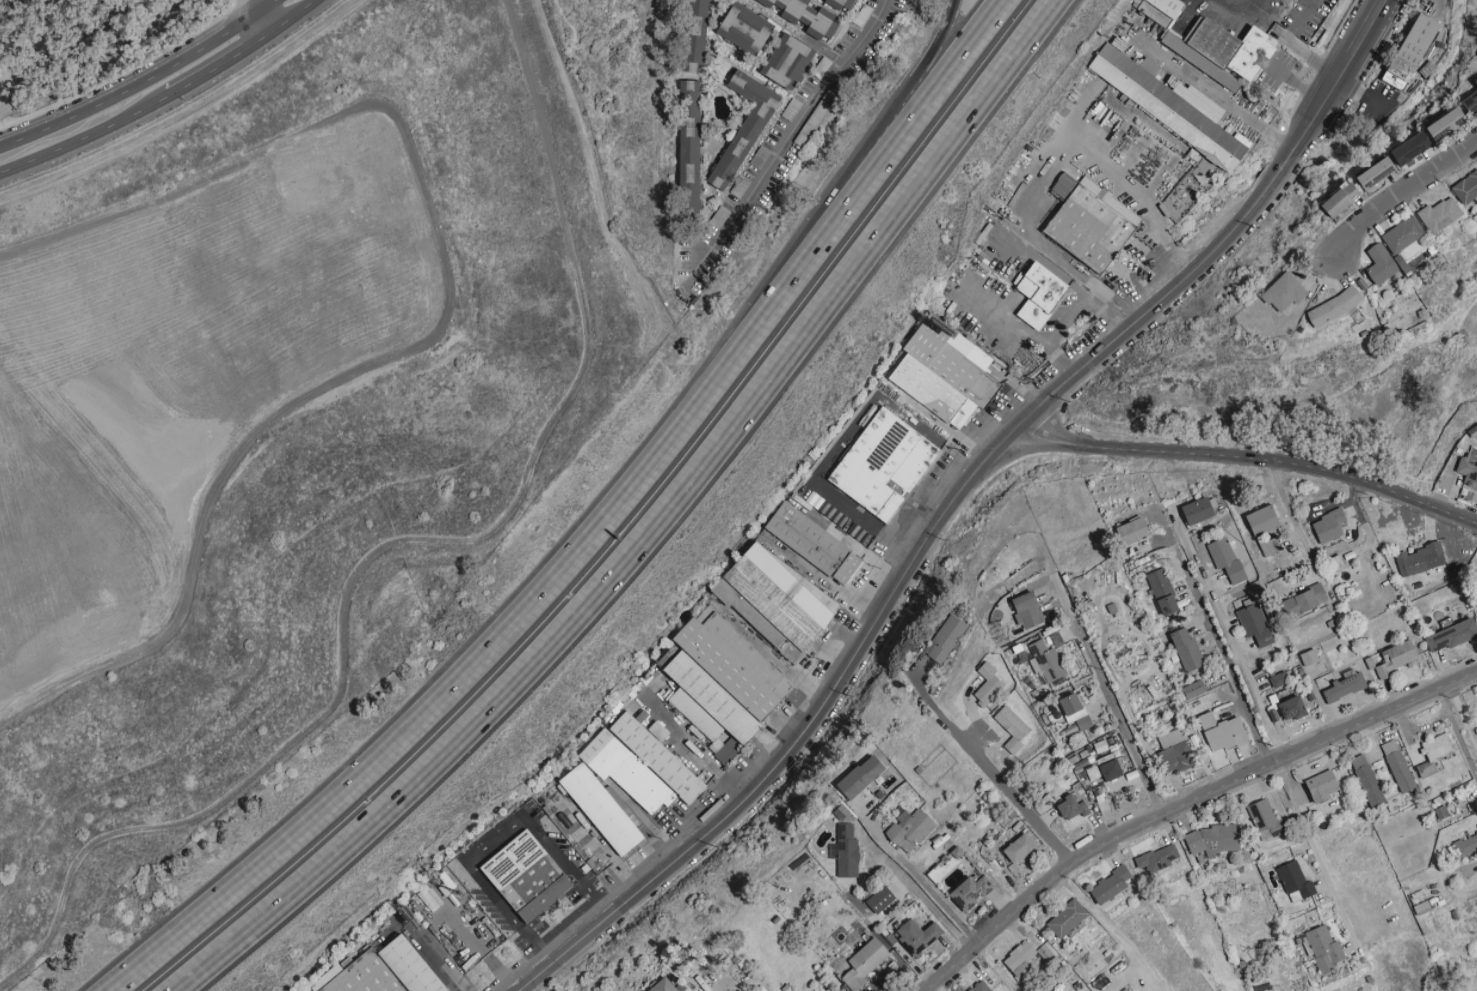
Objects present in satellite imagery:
building: (841, 3)
road: (252, 5)
road: (262, 5)
road: (1247, 13)
road: (292, 16)
building: (807, 16)
road: (263, 21)
road: (47, 25)
road: (1362, 26)
building: (747, 29)
building: (696, 36)
road: (1289, 43)
park: (81, 44)
building: (1213, 45)
building: (1417, 53)
building: (788, 62)
road: (220, 64)
road: (1294, 80)
building: (1475, 80)
road: (133, 87)
road: (1362, 92)
road: (905, 103)
building: (1471, 103)
road: (1232, 105)
building: (1171, 106)
building: (1446, 124)
building: (745, 128)
road: (85, 138)
building: (690, 148)
building: (1411, 149)
road: (779, 154)
building: (1376, 173)
road: (1114, 177)
road: (1398, 187)
building: (1467, 188)
building: (1341, 202)
building: (1441, 215)
building: (1091, 222)
building: (1403, 235)
road: (1045, 239)
building: (1381, 263)
building: (1284, 292)
building: (1041, 293)
building: (1335, 306)
road: (1068, 312)
building: (944, 373)
road: (1246, 458)
building: (885, 464)
building: (1469, 468)
building: (1198, 510)
road: (1291, 518)
building: (1264, 520)
road: (653, 525)
building: (1329, 525)
road: (939, 526)
road: (594, 530)
building: (1134, 530)
building: (814, 543)
building: (1270, 546)
building: (1226, 558)
building: (1420, 559)
building: (1163, 591)
building: (1306, 600)
building: (775, 602)
building: (1028, 610)
building: (1253, 620)
building: (1452, 635)
building: (945, 638)
building: (1187, 649)
road: (1235, 649)
building: (1397, 658)
building: (1312, 660)
building: (1046, 661)
building: (720, 684)
building: (988, 684)
road: (1105, 686)
building: (1194, 689)
building: (1075, 711)
road: (1462, 717)
road: (1470, 722)
building: (1012, 728)
building: (1222, 732)
road: (1457, 733)
building: (1171, 737)
building: (1435, 753)
building: (1179, 756)
building: (659, 757)
building: (1398, 766)
building: (625, 770)
road: (990, 772)
building: (861, 776)
building: (1367, 780)
building: (1323, 786)
road: (1184, 805)
building: (1072, 807)
building: (602, 809)
building: (1265, 819)
building: (910, 829)
road: (491, 839)
building: (1213, 840)
building: (1467, 844)
building: (1020, 848)
building: (846, 851)
road: (1316, 855)
building: (1159, 858)
building: (529, 877)
road: (923, 882)
building: (1295, 882)
building: (1112, 885)
building: (971, 892)
road: (1454, 894)
building: (880, 899)
building: (1067, 918)
building: (918, 935)
building: (1324, 949)
building: (1020, 959)
building: (864, 962)
road: (996, 968)
building: (383, 971)
building: (665, 986)
building: (980, 987)

